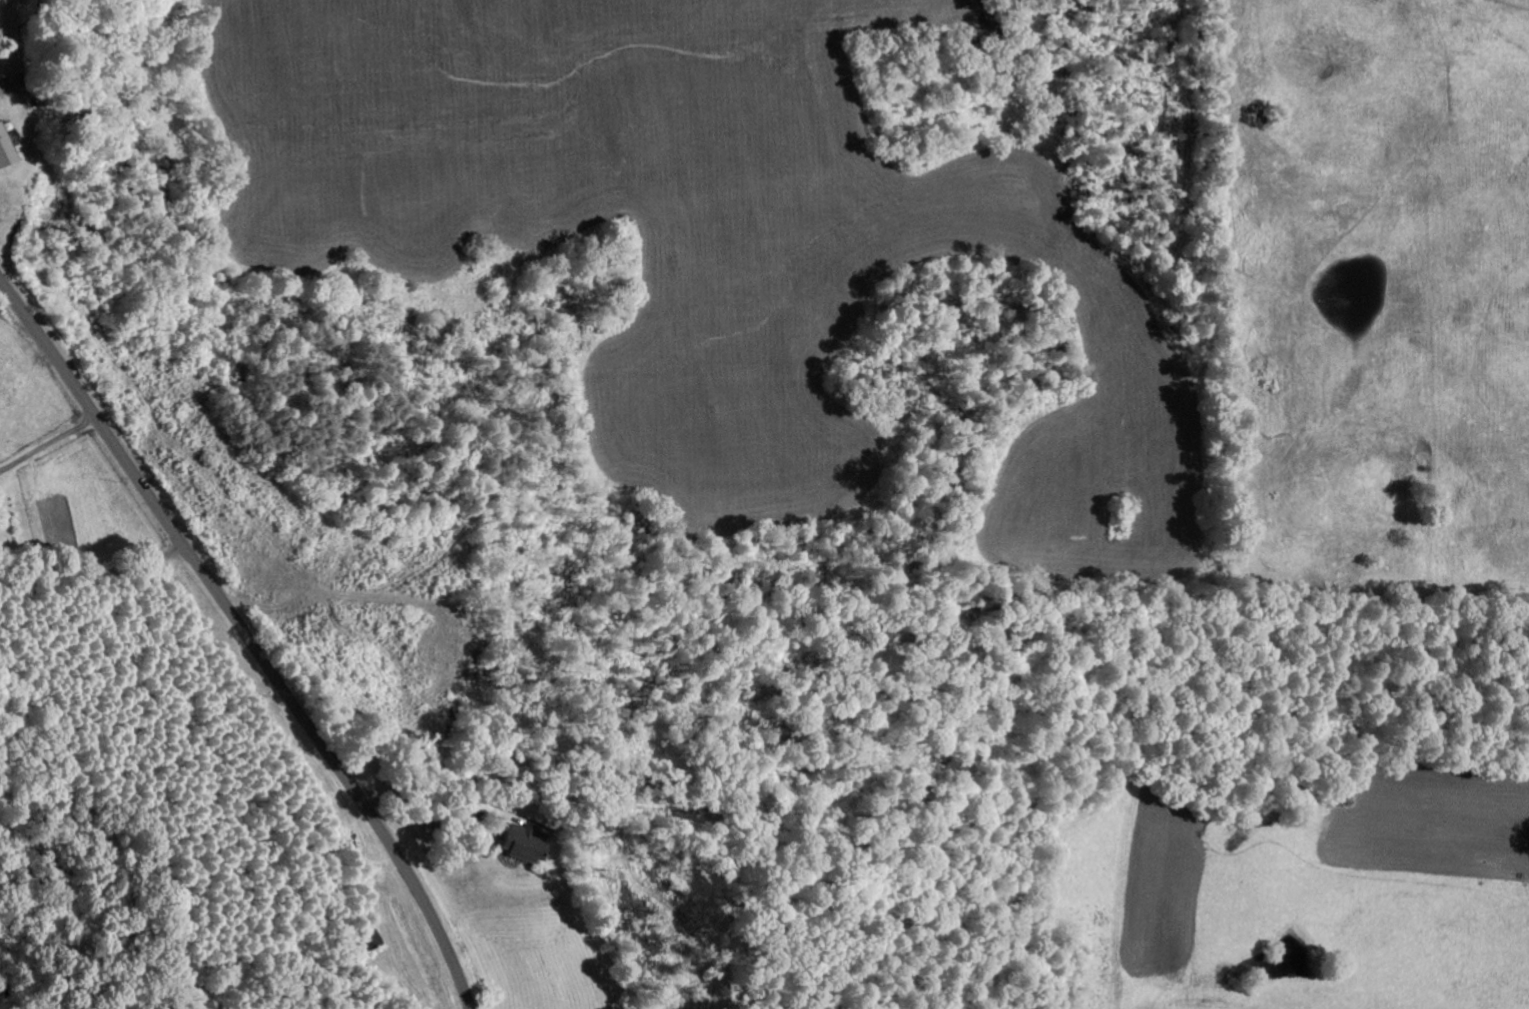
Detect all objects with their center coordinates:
building: (3, 156)
road: (247, 637)
building: (519, 845)

